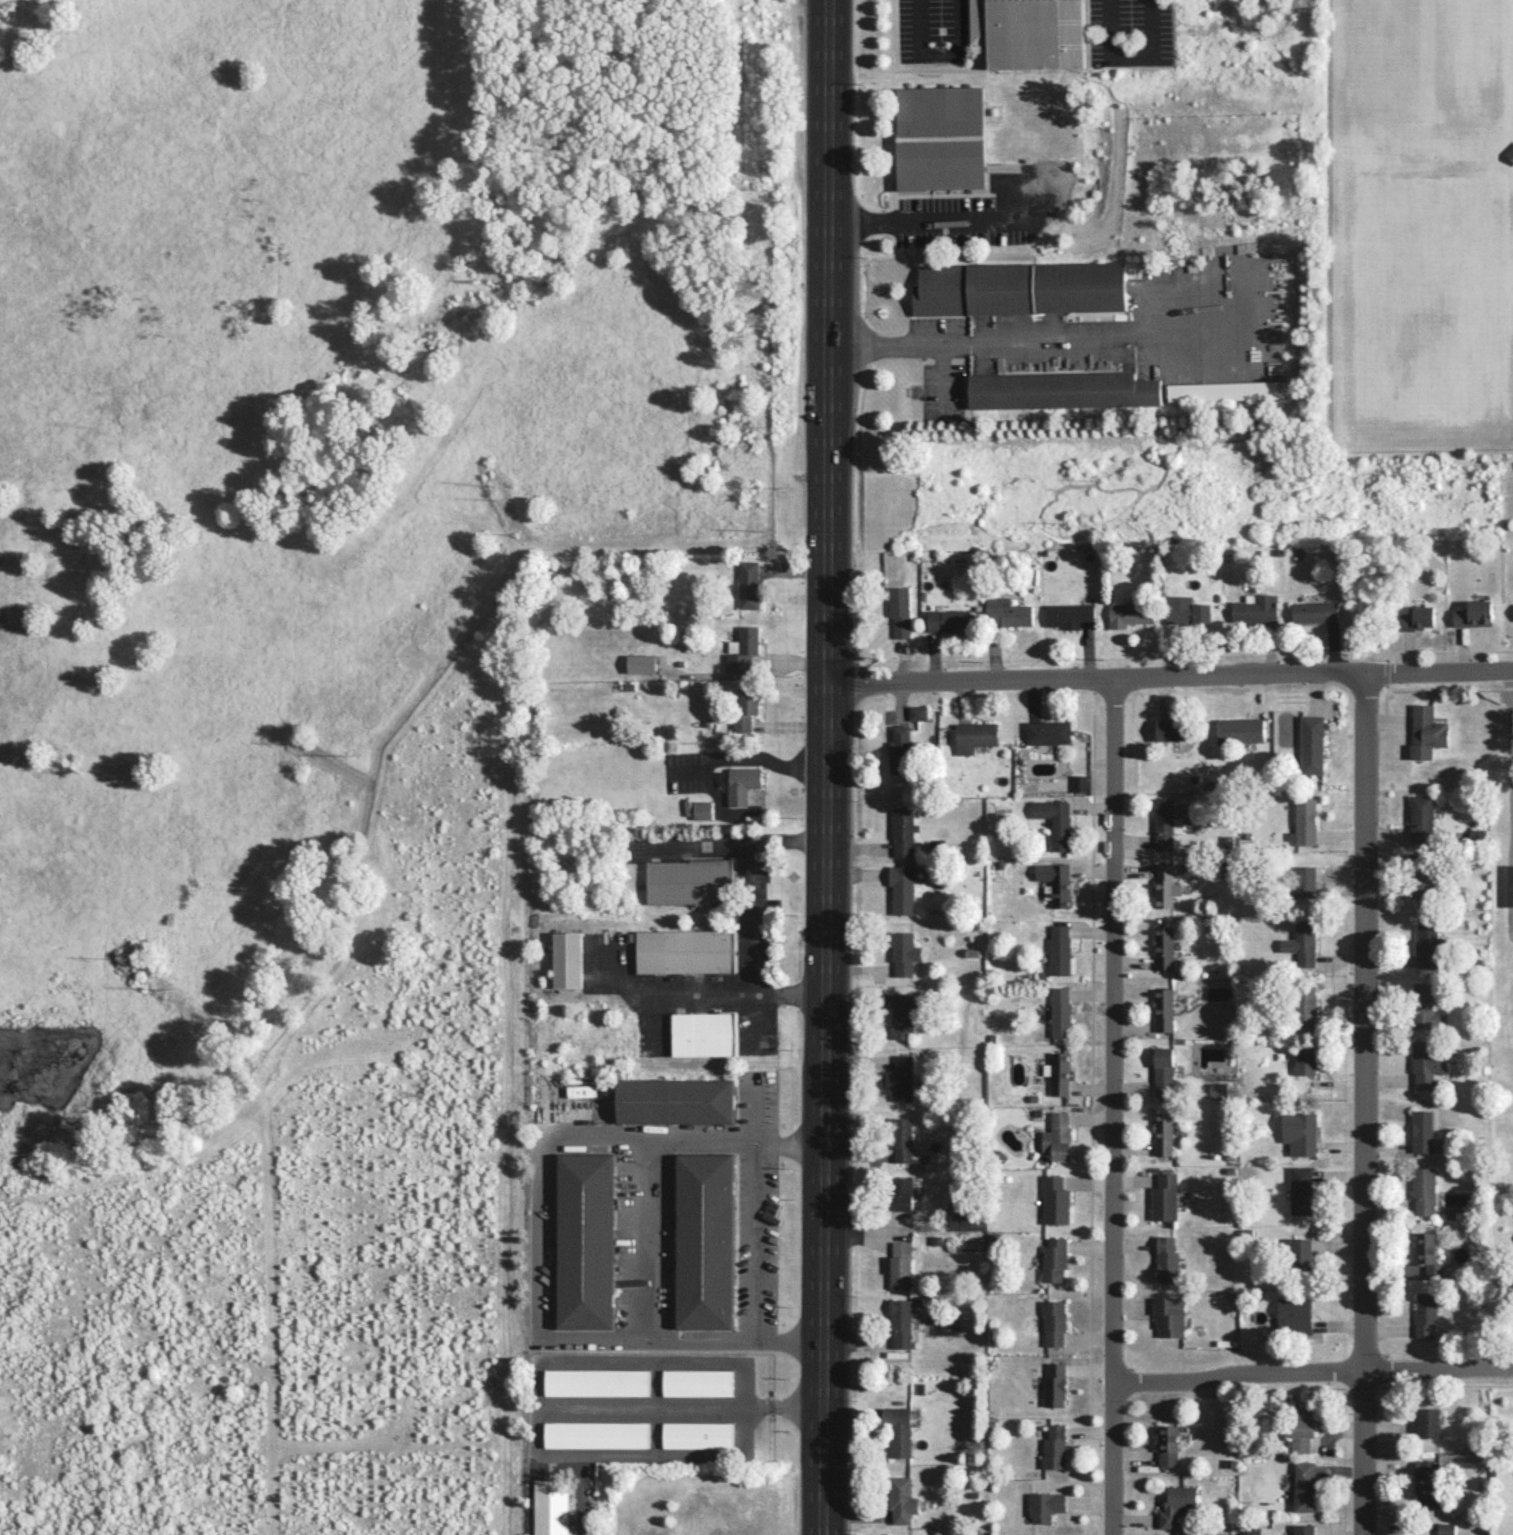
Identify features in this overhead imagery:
building: (1036, 34)
park: (1250, 34)
road: (1263, 35)
road: (938, 53)
road: (1132, 54)
park: (1430, 64)
building: (994, 111)
building: (940, 137)
building: (1510, 153)
road: (945, 222)
building: (1020, 287)
park: (1431, 301)
road: (1016, 335)
building: (1062, 389)
building: (1223, 391)
power tower: (1410, 478)
power tower: (1102, 484)
power tower: (787, 491)
power tower: (499, 497)
power tower: (1358, 522)
power tower: (1073, 526)
power tower: (774, 533)
power tower: (519, 538)
building: (749, 584)
building: (1255, 608)
building: (900, 610)
building: (1188, 611)
building: (1313, 611)
building: (1007, 612)
building: (1130, 614)
building: (1474, 614)
building: (1069, 615)
building: (1416, 618)
building: (947, 619)
building: (742, 649)
building: (641, 663)
road: (1168, 678)
building: (746, 707)
building: (918, 712)
building: (1168, 729)
building: (1239, 729)
building: (1047, 731)
building: (1426, 732)
building: (974, 736)
building: (1311, 743)
road: (1510, 744)
power tower: (298, 746)
power tower: (351, 759)
road: (749, 762)
road: (824, 767)
building: (739, 783)
building: (1079, 783)
building: (702, 809)
building: (1421, 818)
building: (1055, 821)
building: (1305, 821)
building: (1163, 822)
building: (902, 831)
building: (1478, 835)
road: (732, 839)
road: (1512, 853)
building: (1421, 876)
building: (689, 881)
building: (1305, 881)
building: (1056, 882)
building: (1509, 885)
building: (1164, 886)
building: (901, 888)
building: (1301, 943)
building: (1426, 944)
building: (1163, 946)
building: (1059, 950)
building: (685, 951)
road: (757, 951)
building: (904, 952)
building: (567, 959)
power tower: (127, 961)
power tower: (173, 990)
road: (734, 994)
building: (1425, 1006)
building: (1304, 1007)
building: (1164, 1009)
building: (1060, 1012)
building: (901, 1014)
building: (704, 1033)
building: (1304, 1058)
building: (1426, 1063)
building: (1163, 1071)
building: (1060, 1073)
building: (900, 1078)
building: (1218, 1090)
building: (581, 1091)
building: (675, 1101)
road: (1362, 1106)
road: (1114, 1107)
building: (1421, 1131)
building: (1300, 1132)
building: (1164, 1133)
building: (1057, 1137)
building: (902, 1138)
building: (1302, 1189)
building: (1423, 1189)
building: (902, 1193)
building: (1164, 1197)
building: (1055, 1200)
road: (753, 1208)
road: (538, 1234)
road: (648, 1238)
building: (585, 1241)
building: (704, 1241)
building: (1427, 1253)
building: (1300, 1257)
building: (1054, 1260)
building: (1167, 1260)
building: (900, 1264)
building: (1425, 1314)
building: (1169, 1315)
building: (1294, 1315)
building: (1054, 1321)
building: (900, 1322)
road: (1313, 1374)
building: (596, 1382)
building: (697, 1382)
road: (1446, 1384)
building: (1054, 1385)
building: (1428, 1422)
building: (1302, 1429)
road: (1390, 1429)
building: (898, 1430)
building: (596, 1435)
building: (697, 1435)
building: (1166, 1444)
building: (1054, 1446)
road: (1389, 1468)
building: (1427, 1483)
building: (1304, 1486)
building: (901, 1500)
building: (1176, 1504)
building: (1045, 1505)
building: (551, 1507)
building: (1303, 1529)
building: (1446, 1529)
road: (1400, 1532)

